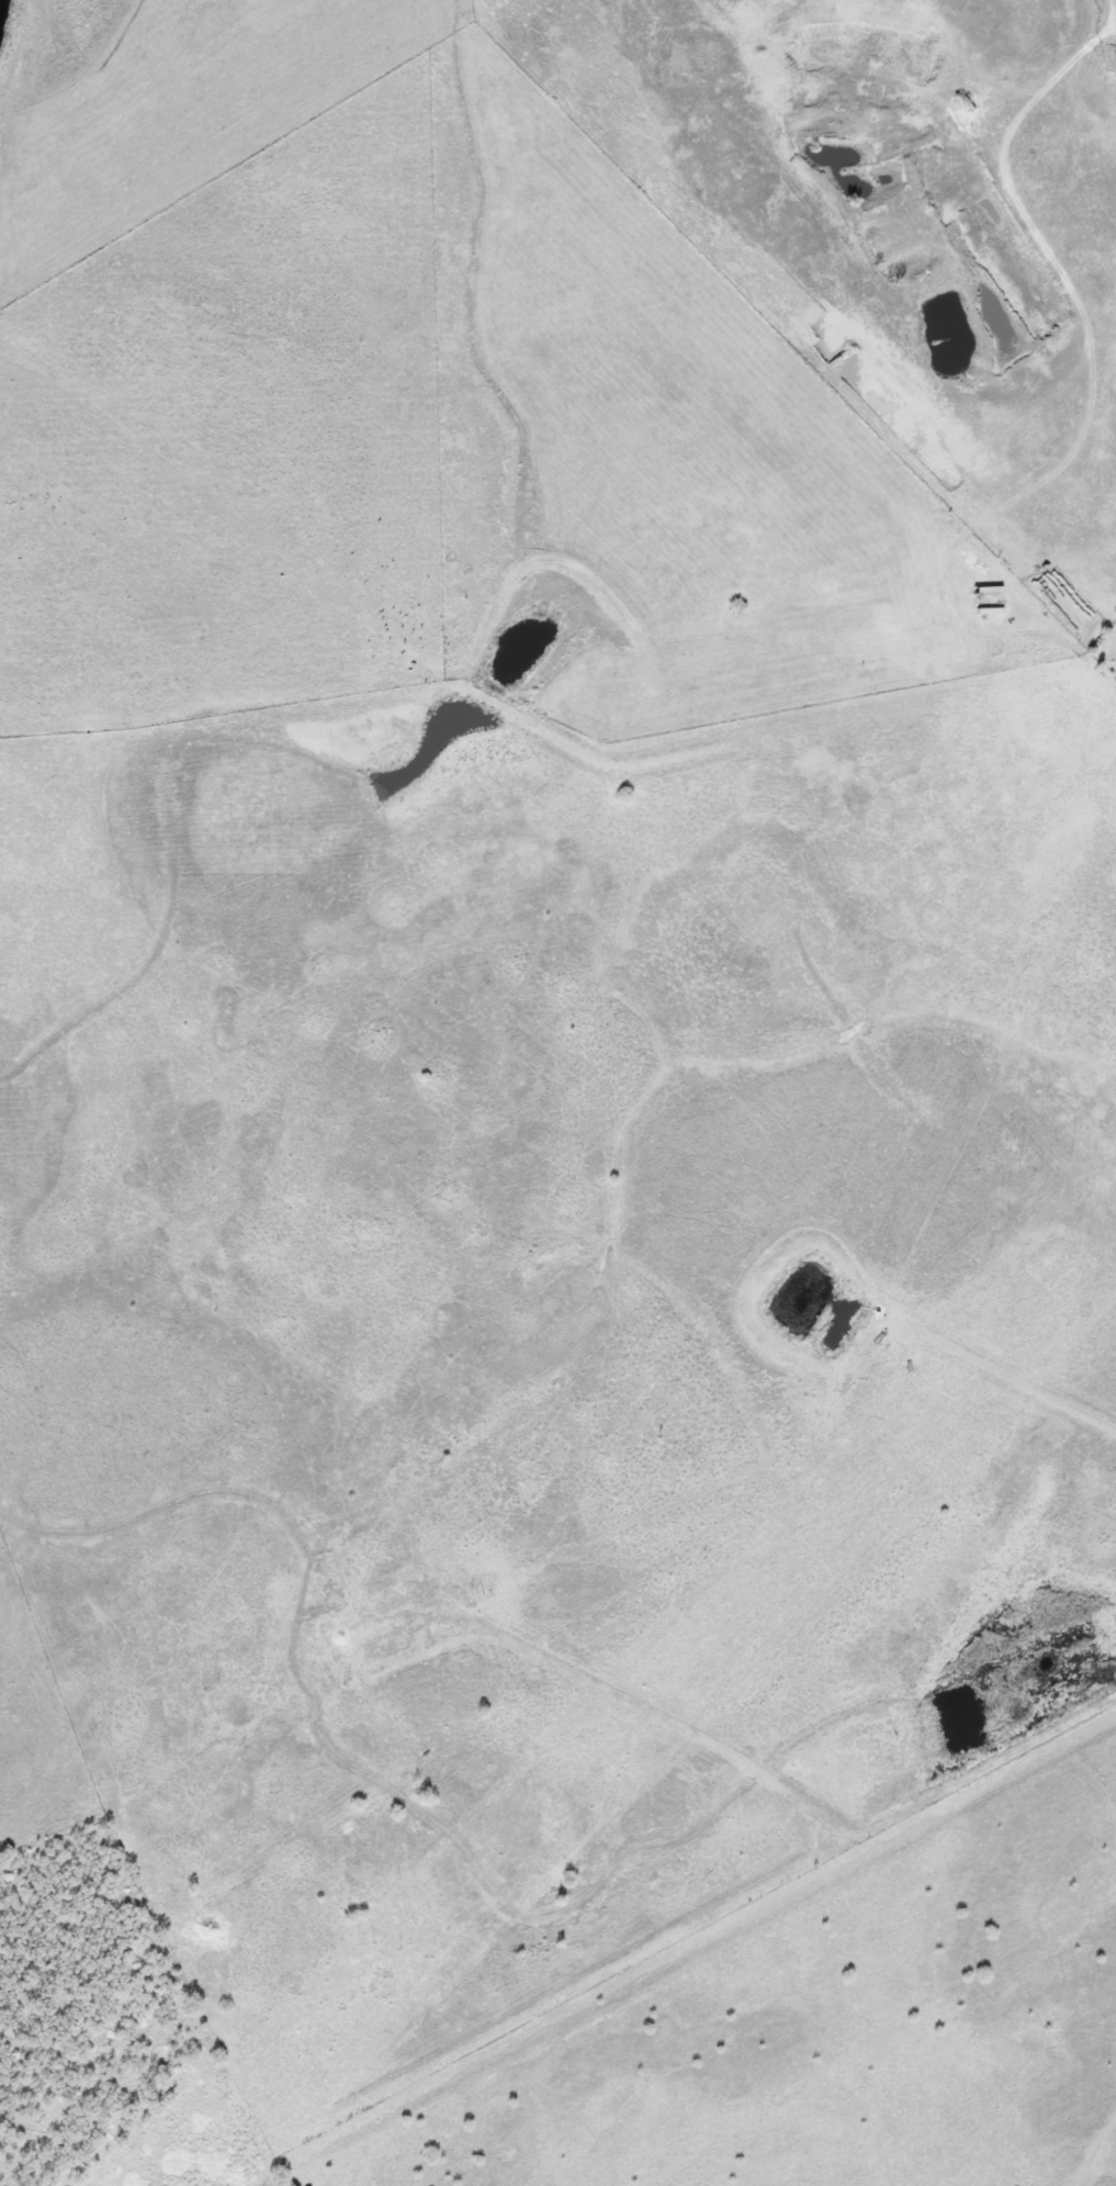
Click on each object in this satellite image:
road: (1091, 1417)
road: (1094, 2160)

